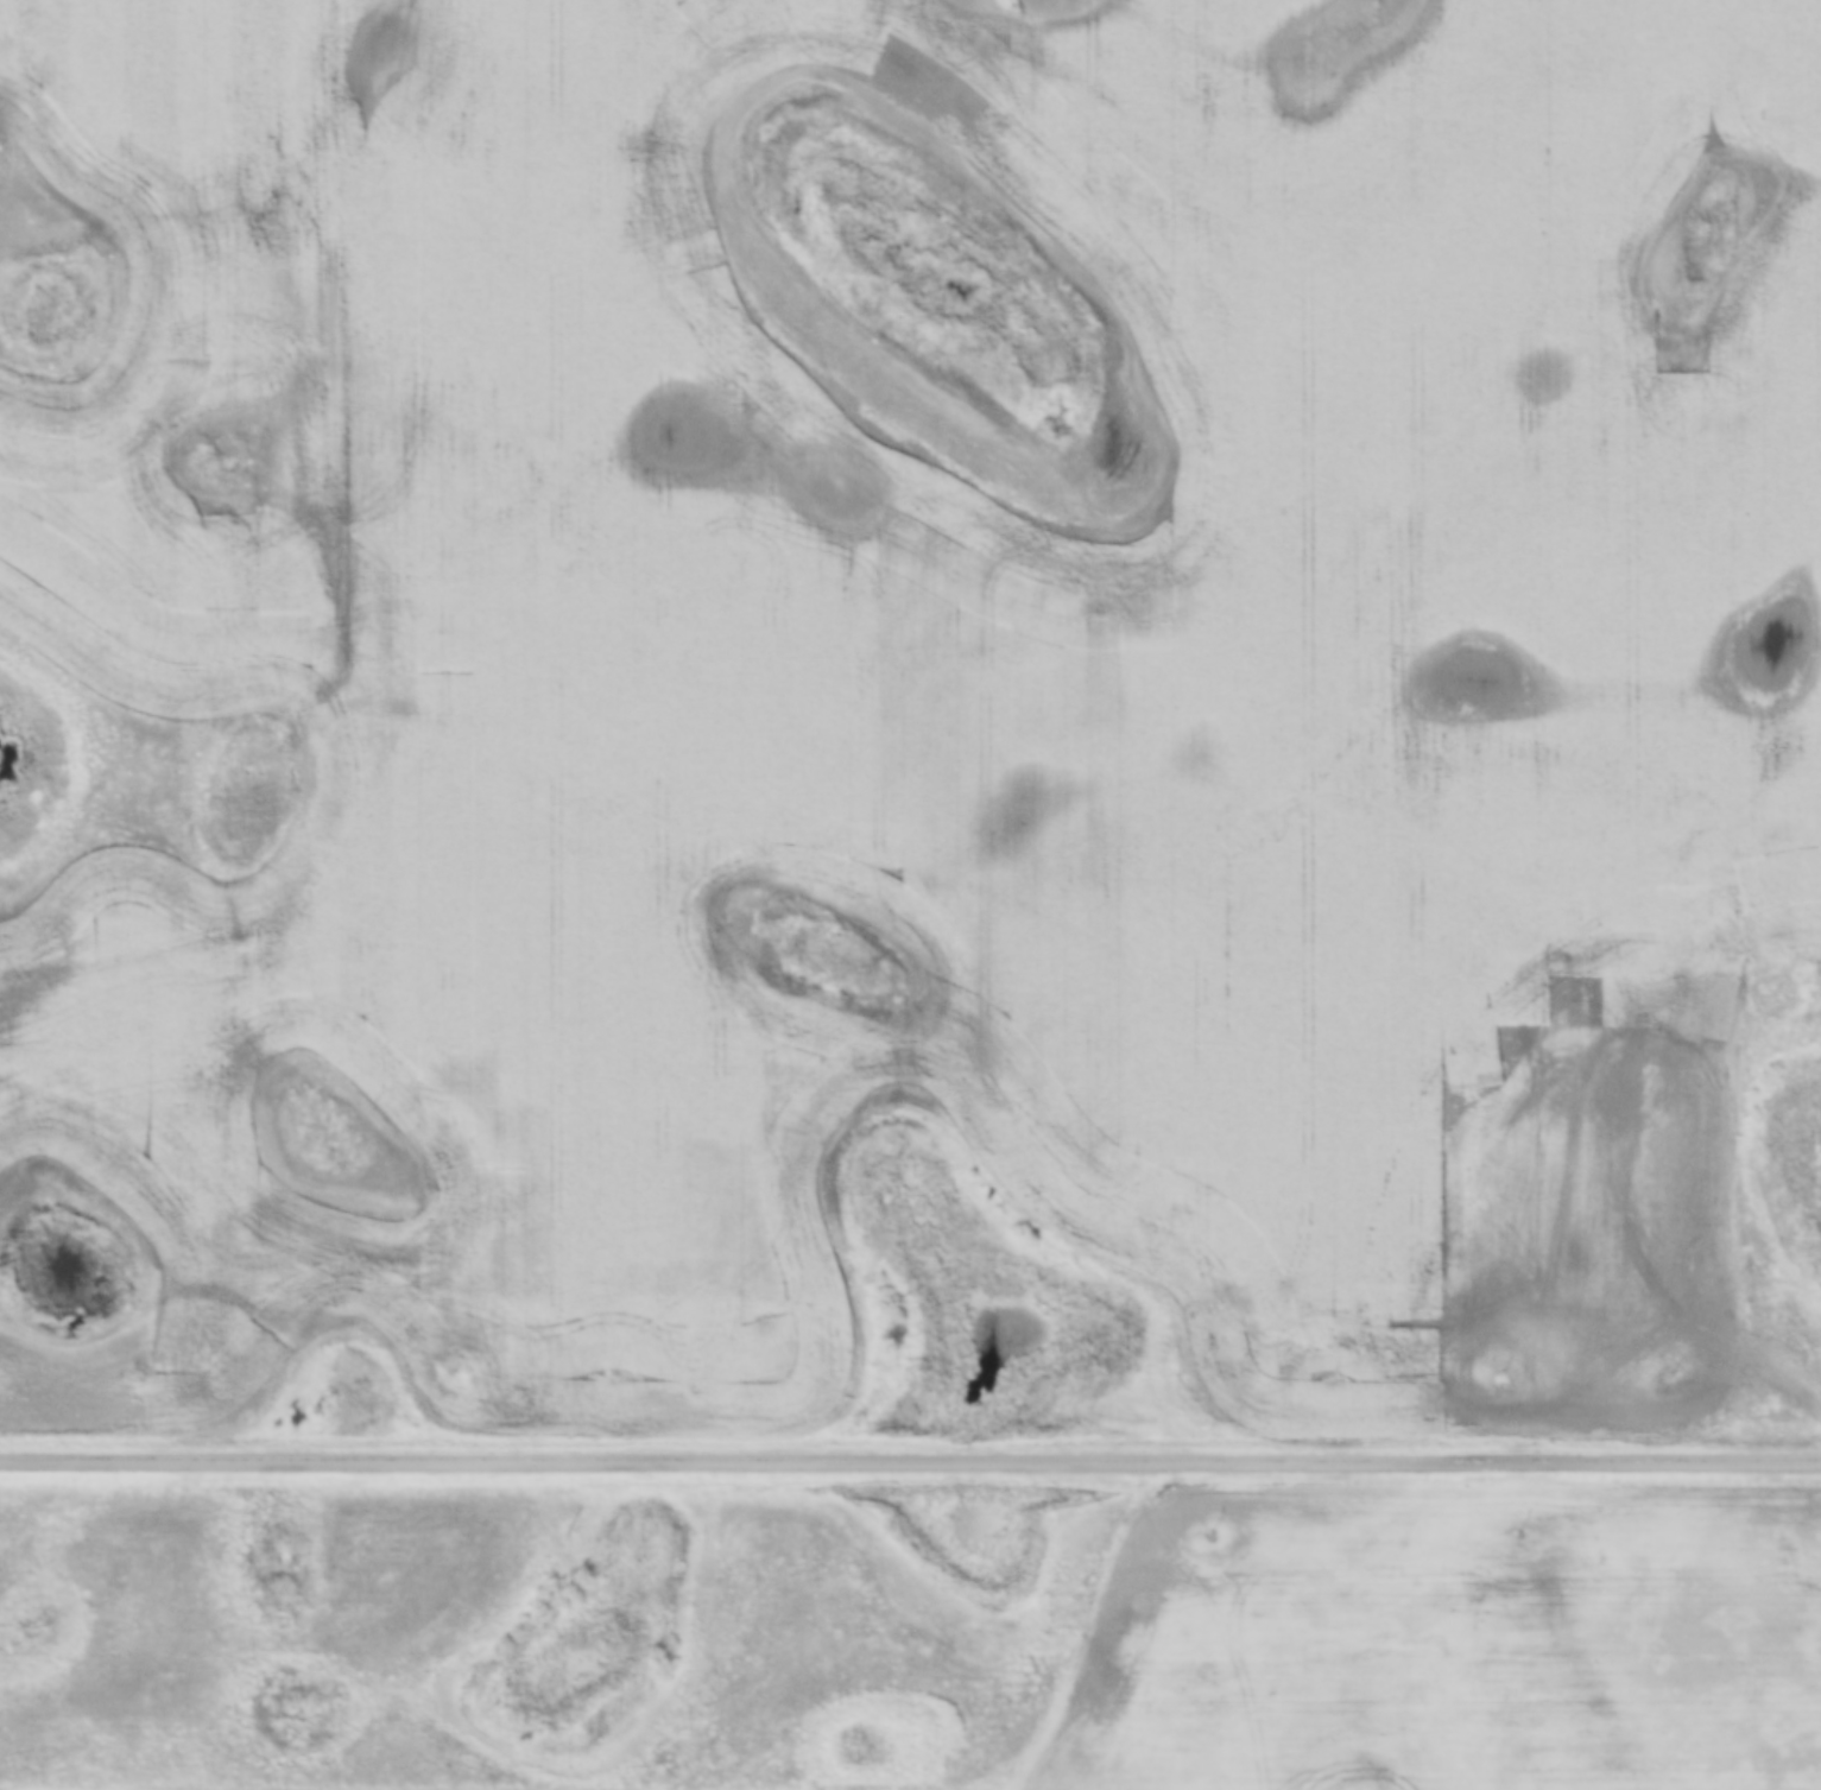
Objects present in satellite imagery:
road: (910, 1465)

